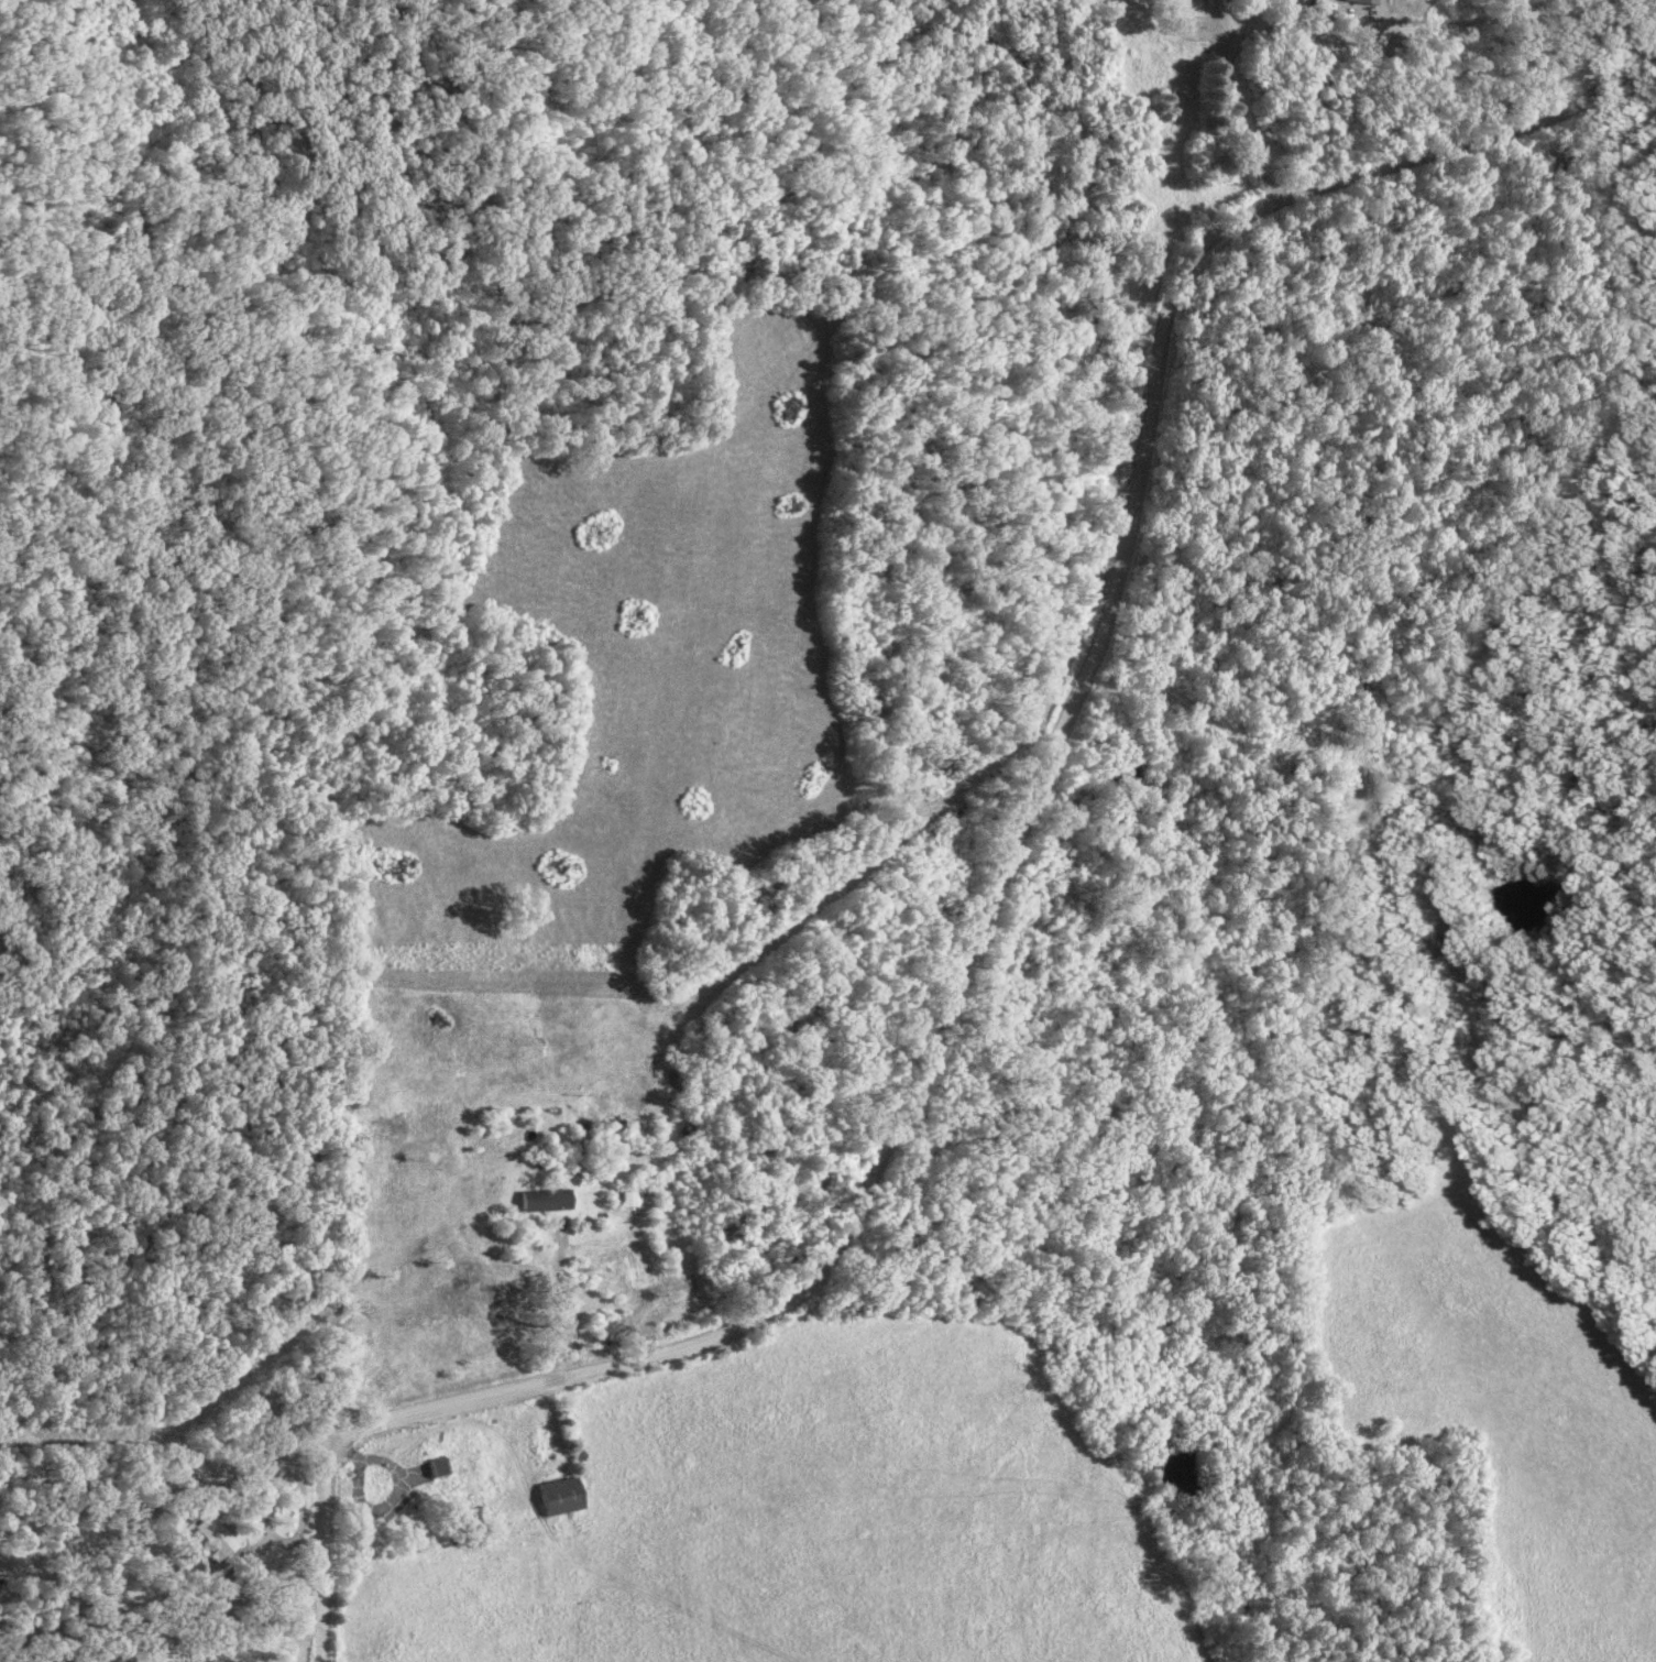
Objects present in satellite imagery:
building: (1251, 0)
building: (1363, 2)
road: (1353, 30)
road: (1225, 90)
road: (1468, 154)
road: (950, 986)
building: (623, 1198)
building: (546, 1199)
road: (550, 1289)
road: (341, 1453)
road: (163, 1469)
road: (392, 1491)
building: (562, 1495)
road: (252, 1520)
building: (212, 1534)
road: (312, 1554)

